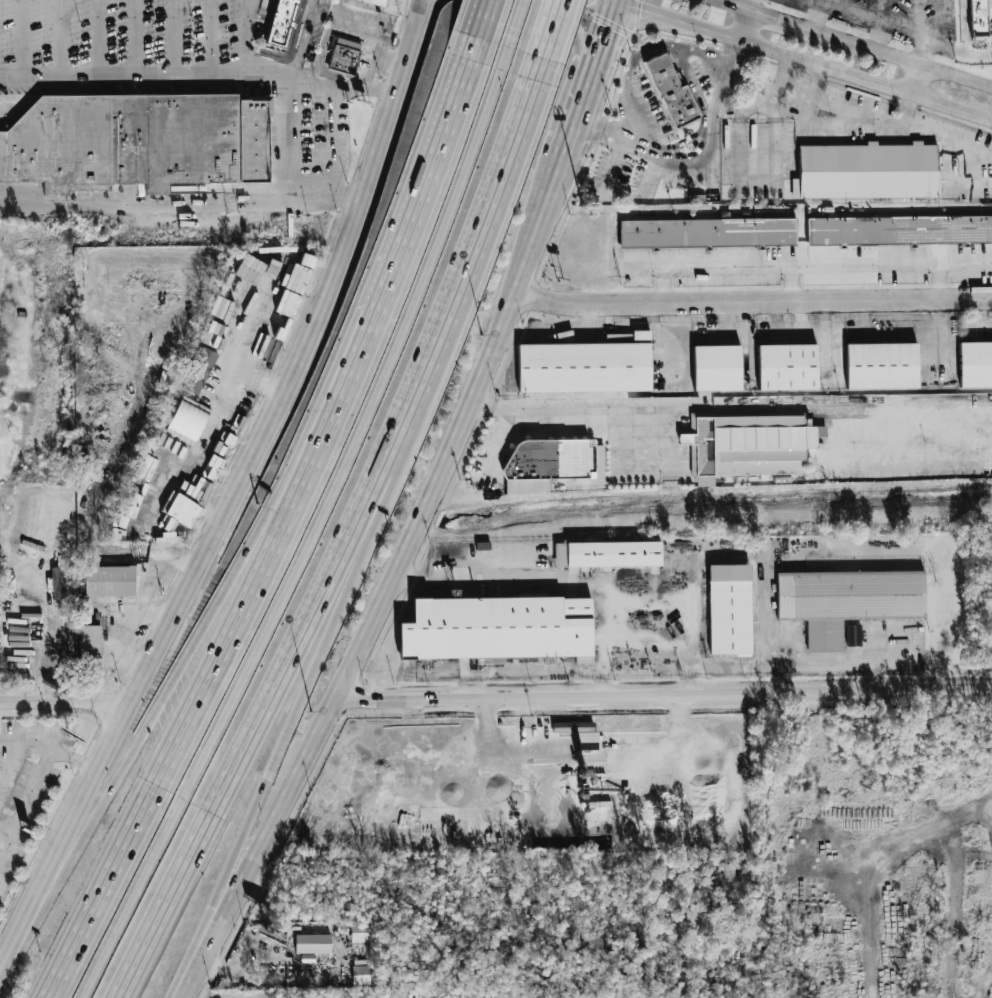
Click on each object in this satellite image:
road: (612, 1)
road: (616, 1)
building: (376, 3)
road: (846, 5)
road: (752, 6)
road: (423, 10)
road: (427, 10)
road: (435, 10)
road: (882, 10)
road: (816, 16)
road: (868, 16)
road: (557, 17)
road: (480, 19)
building: (283, 23)
road: (514, 23)
road: (945, 24)
traffic signals: (606, 26)
road: (746, 26)
road: (605, 27)
road: (550, 29)
road: (922, 33)
road: (878, 35)
road: (20, 38)
road: (61, 38)
road: (96, 38)
road: (134, 38)
road: (170, 38)
road: (246, 41)
road: (849, 42)
road: (374, 43)
road: (738, 48)
road: (644, 50)
road: (957, 50)
building: (346, 58)
road: (805, 58)
road: (297, 60)
road: (123, 77)
road: (778, 77)
road: (920, 79)
road: (367, 88)
building: (674, 92)
road: (578, 106)
road: (852, 110)
road: (598, 128)
building: (253, 140)
building: (122, 141)
road: (711, 152)
road: (429, 160)
building: (866, 170)
road: (749, 180)
road: (326, 186)
road: (617, 190)
road: (350, 192)
road: (546, 200)
building: (898, 231)
building: (706, 232)
road: (811, 264)
road: (522, 267)
road: (939, 280)
road: (790, 282)
road: (751, 300)
road: (254, 327)
building: (975, 364)
building: (880, 366)
building: (583, 367)
building: (786, 367)
building: (716, 368)
building: (199, 371)
road: (219, 409)
road: (628, 410)
building: (188, 420)
building: (749, 445)
building: (549, 463)
building: (141, 487)
building: (133, 506)
road: (237, 508)
road: (309, 528)
road: (349, 536)
building: (607, 554)
road: (527, 575)
building: (110, 581)
building: (55, 583)
building: (847, 601)
building: (730, 609)
building: (84, 615)
building: (498, 628)
road: (199, 634)
building: (853, 635)
road: (626, 636)
building: (90, 640)
road: (222, 645)
road: (320, 648)
road: (358, 648)
road: (44, 658)
road: (721, 660)
road: (830, 660)
road: (664, 695)
road: (64, 698)
building: (567, 726)
road: (74, 758)
road: (45, 765)
road: (586, 822)
road: (5, 826)
road: (8, 847)
building: (360, 932)
building: (313, 943)
building: (360, 975)

